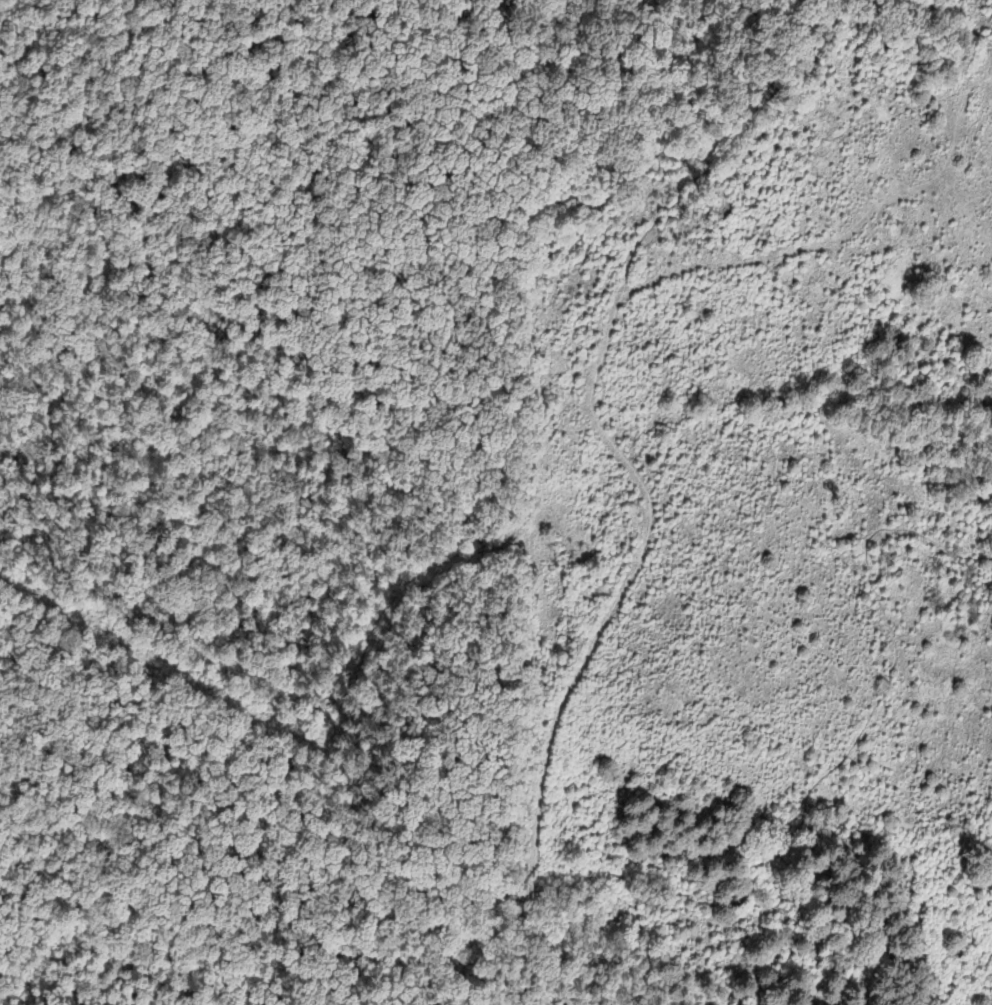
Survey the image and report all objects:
road: (812, 40)
road: (648, 99)
road: (639, 553)
road: (32, 675)
road: (807, 790)
road: (141, 798)
road: (354, 874)
road: (193, 880)
road: (141, 882)

